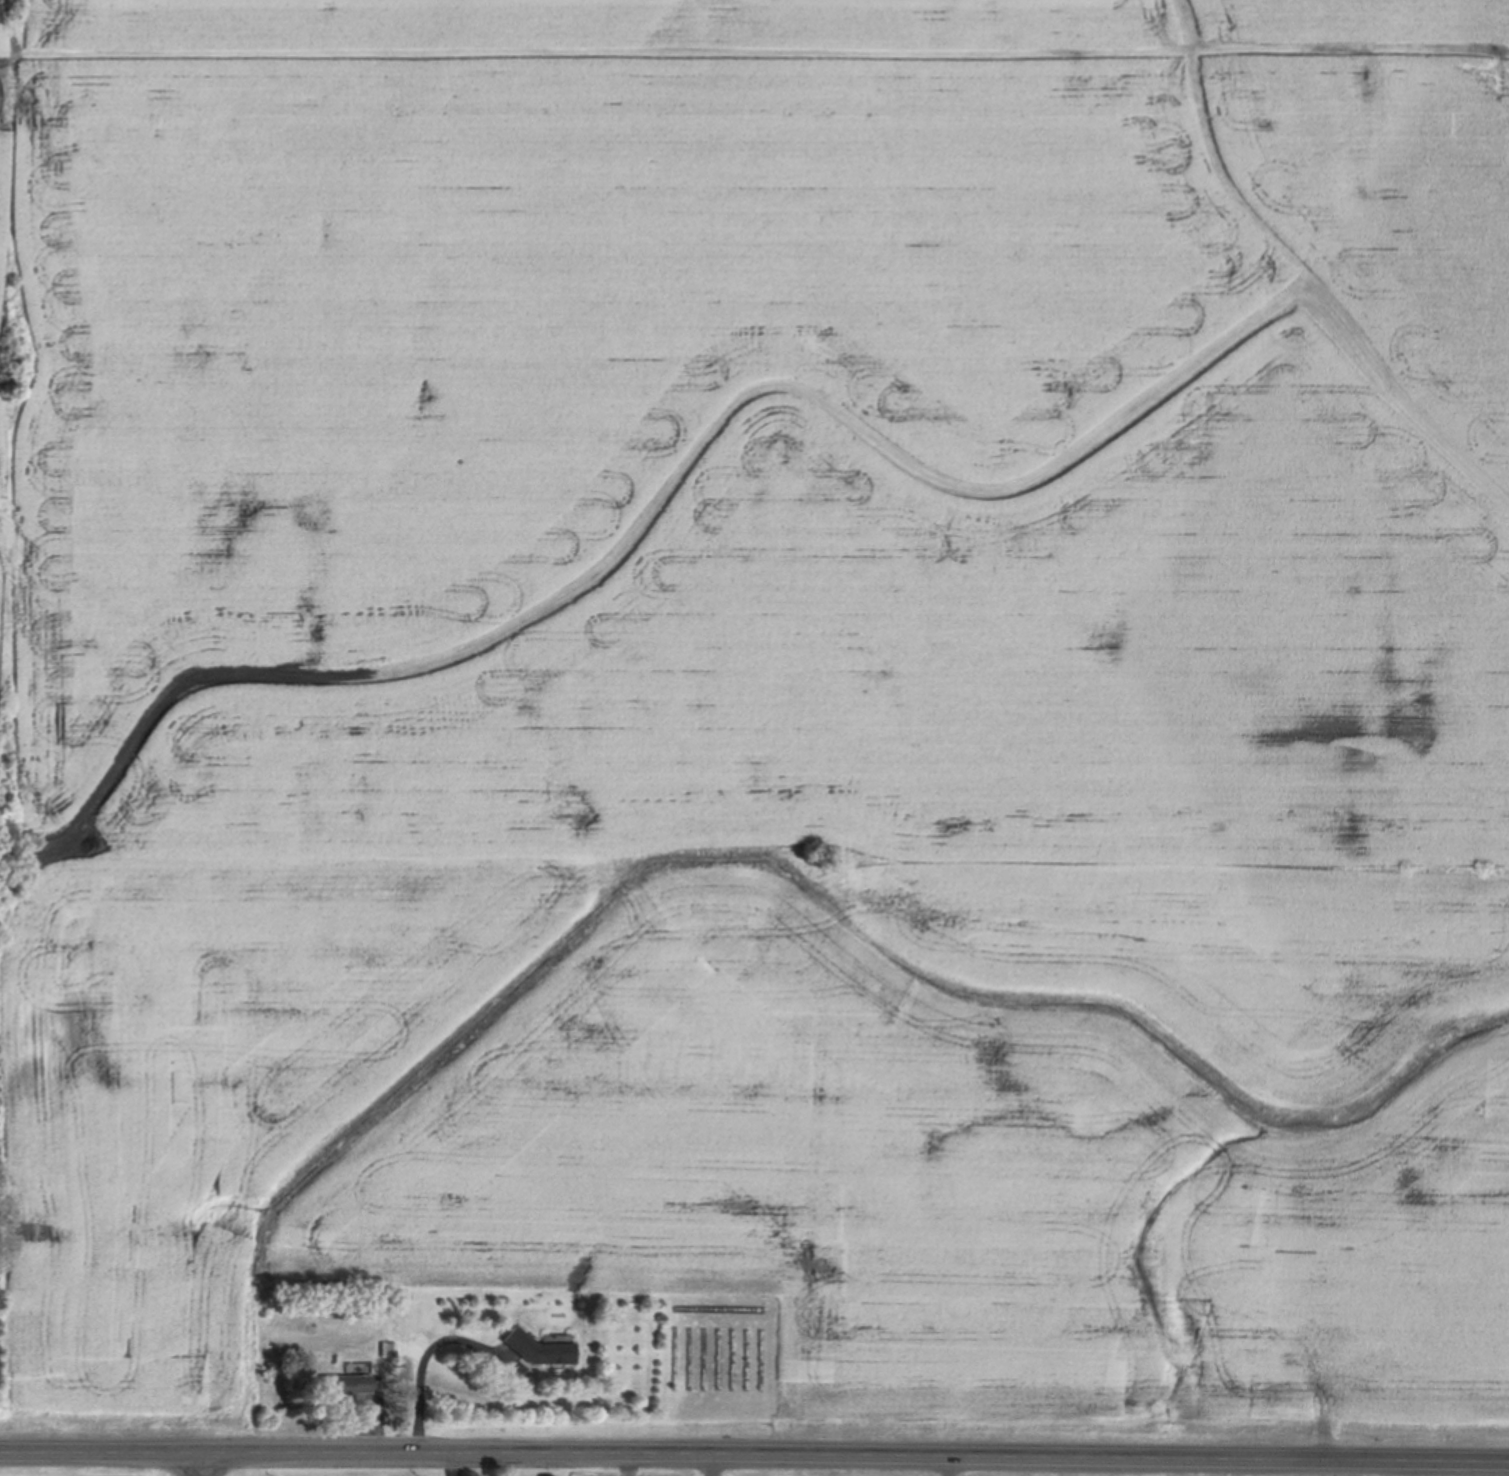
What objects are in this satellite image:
building: (312, 1321)
building: (538, 1344)
building: (388, 1346)
road: (422, 1356)
building: (344, 1381)
road: (754, 1456)
road: (204, 1465)
road: (717, 1466)

